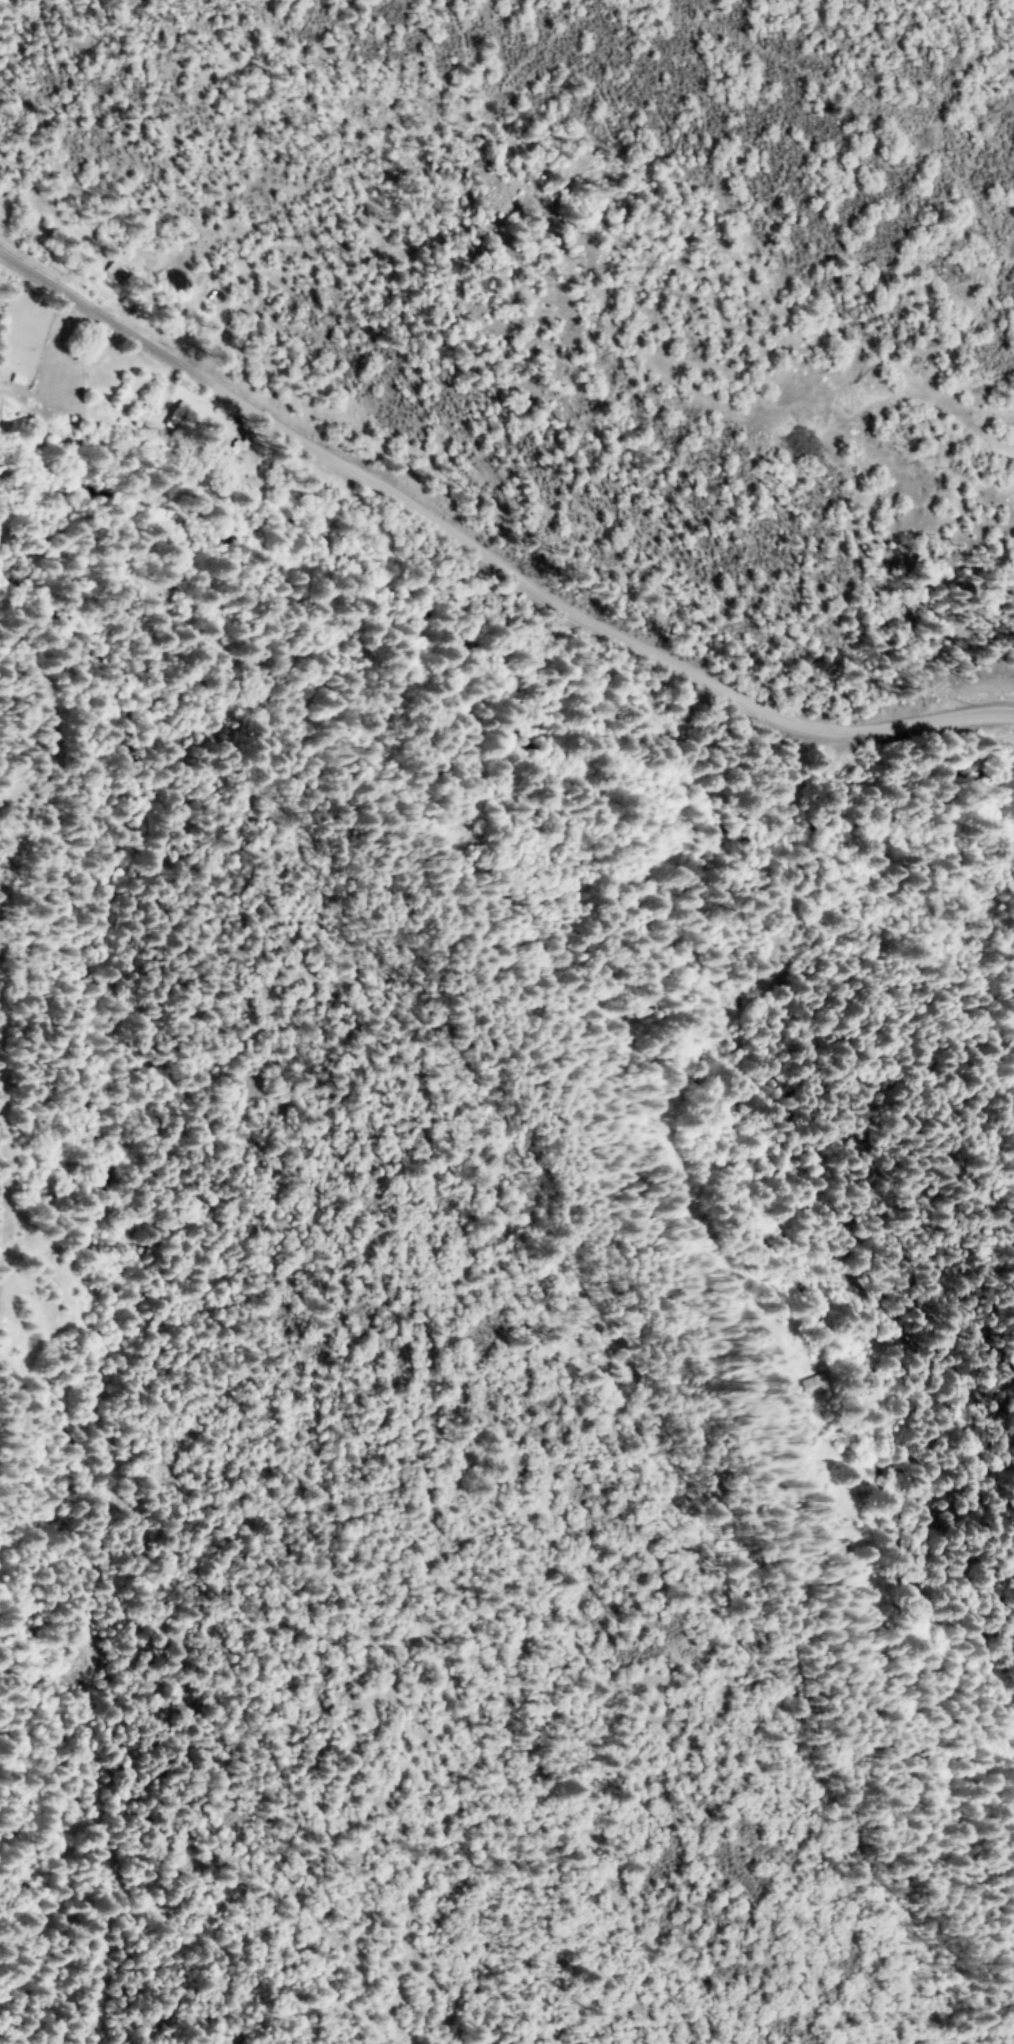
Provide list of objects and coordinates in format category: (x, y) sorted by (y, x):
road: (66, 353)
building: (177, 417)
road: (84, 425)
road: (487, 559)
road: (614, 1201)

